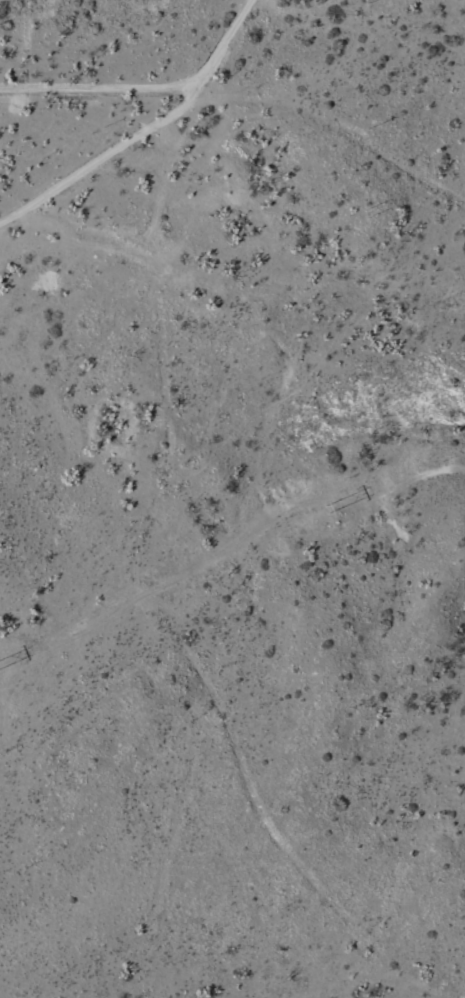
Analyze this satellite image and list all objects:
power tower: (326, 509)

